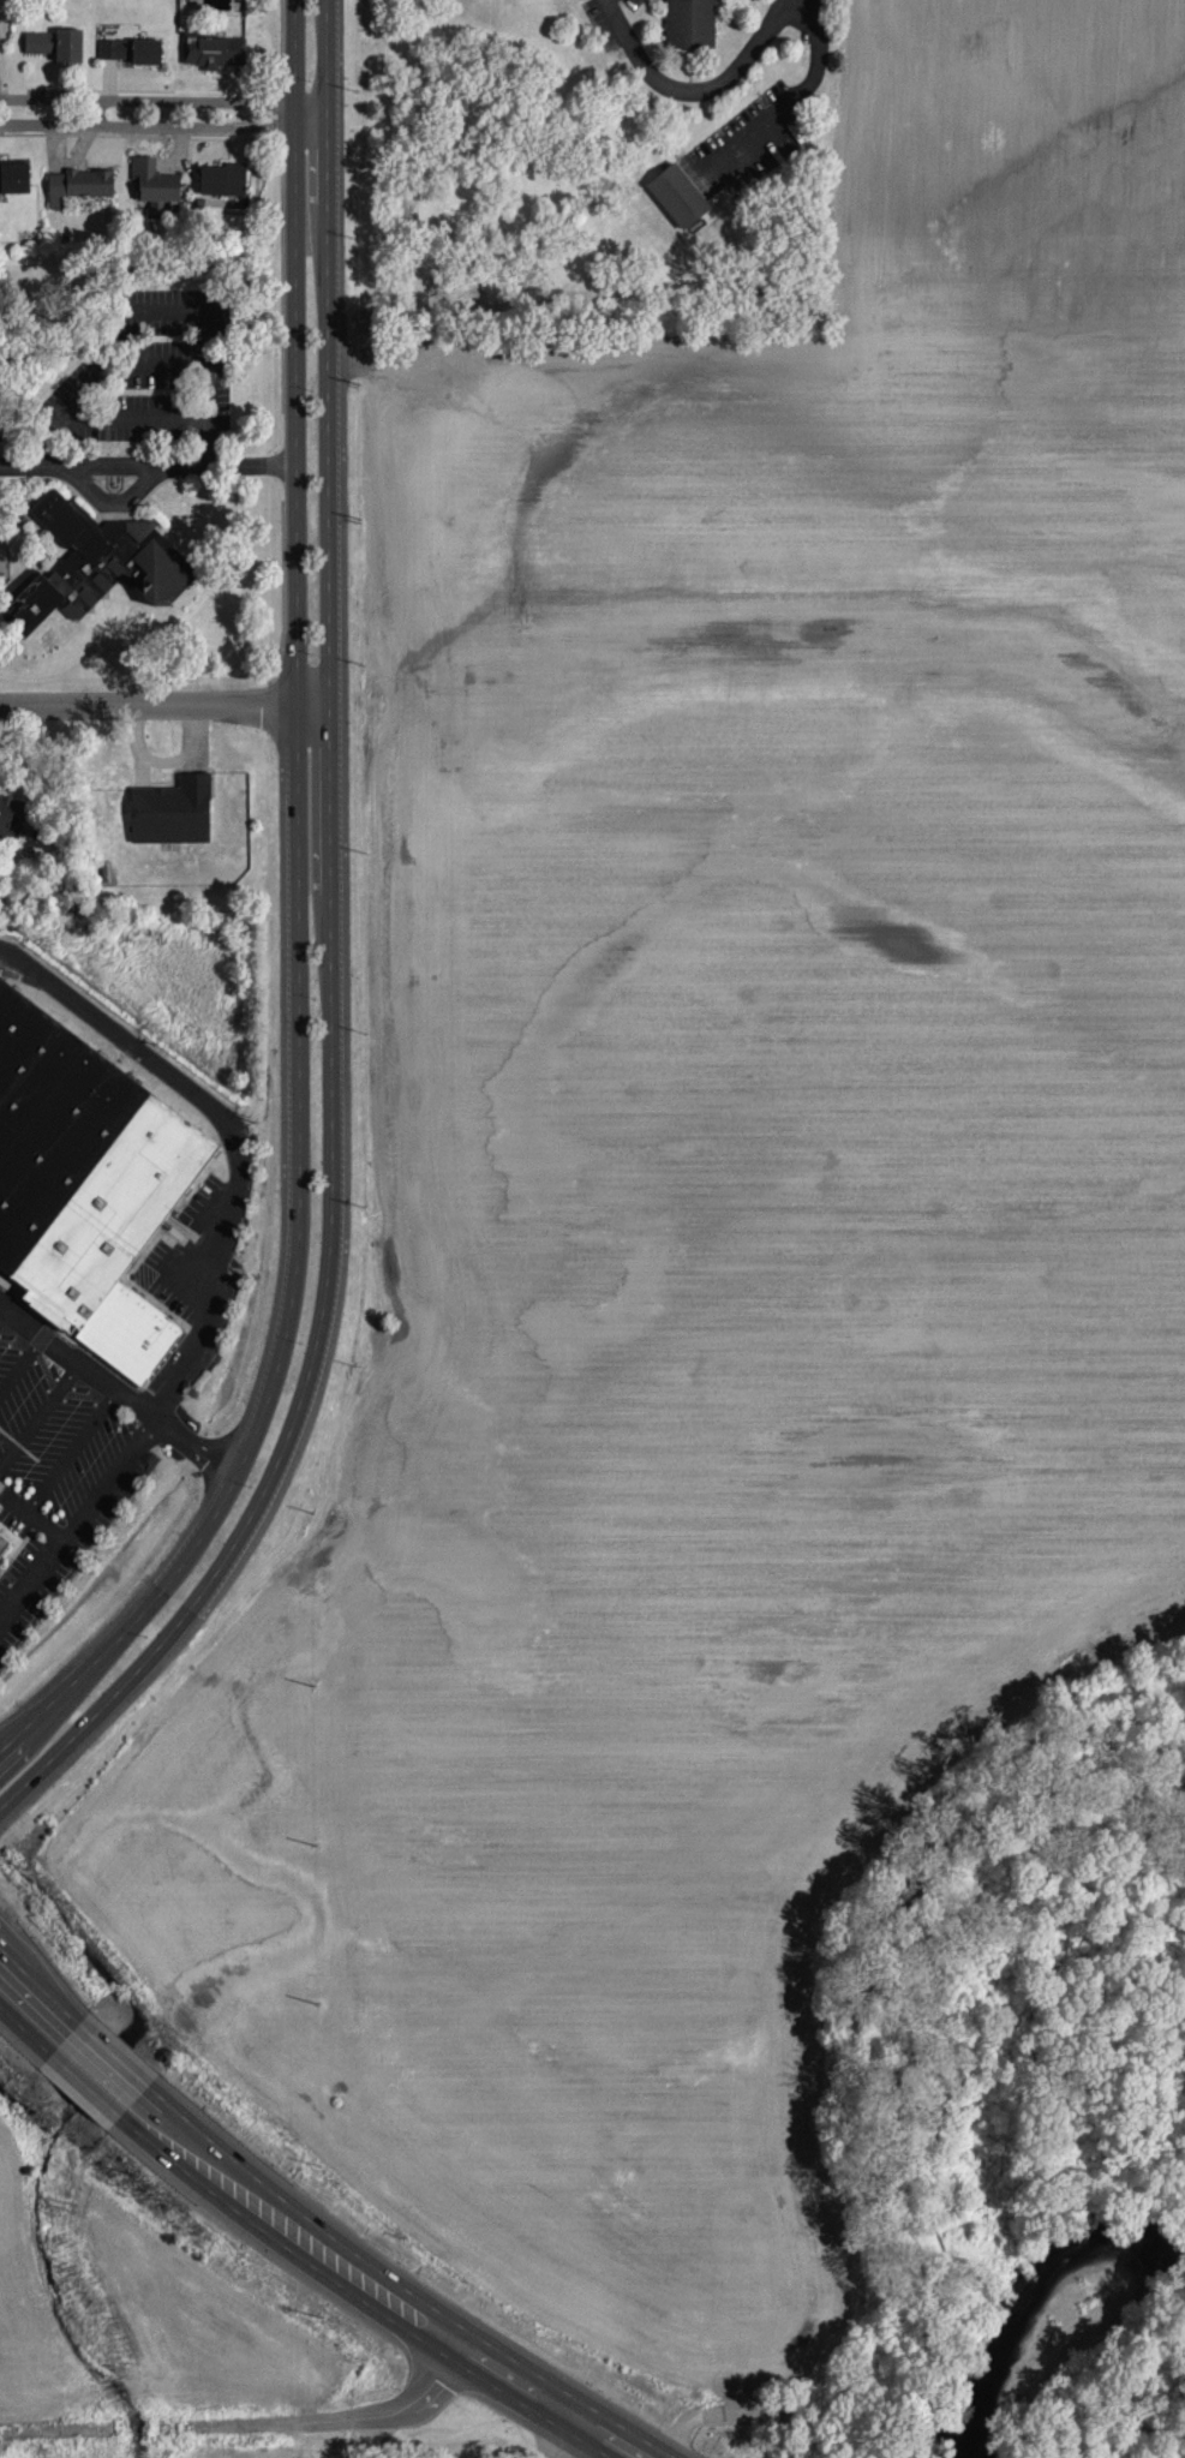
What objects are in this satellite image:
building: (689, 22)
building: (55, 44)
building: (131, 50)
building: (213, 52)
road: (693, 92)
road: (789, 97)
road: (91, 114)
road: (310, 115)
building: (13, 178)
building: (154, 183)
building: (222, 184)
building: (78, 185)
building: (676, 191)
road: (311, 233)
road: (149, 310)
road: (137, 417)
road: (155, 467)
building: (95, 562)
road: (156, 706)
building: (172, 812)
building: (10, 818)
road: (315, 975)
road: (231, 1131)
building: (86, 1183)
road: (4, 1311)
road: (22, 1363)
road: (125, 1391)
road: (40, 1413)
road: (72, 1448)
parking lot: (55, 1469)
road: (32, 1514)
road: (79, 1520)
building: (4, 1543)
road: (142, 1639)
road: (31, 2008)
road: (97, 2069)
road: (370, 2291)
river: (1028, 2304)
road: (240, 2422)
road: (375, 2436)
road: (561, 2440)

